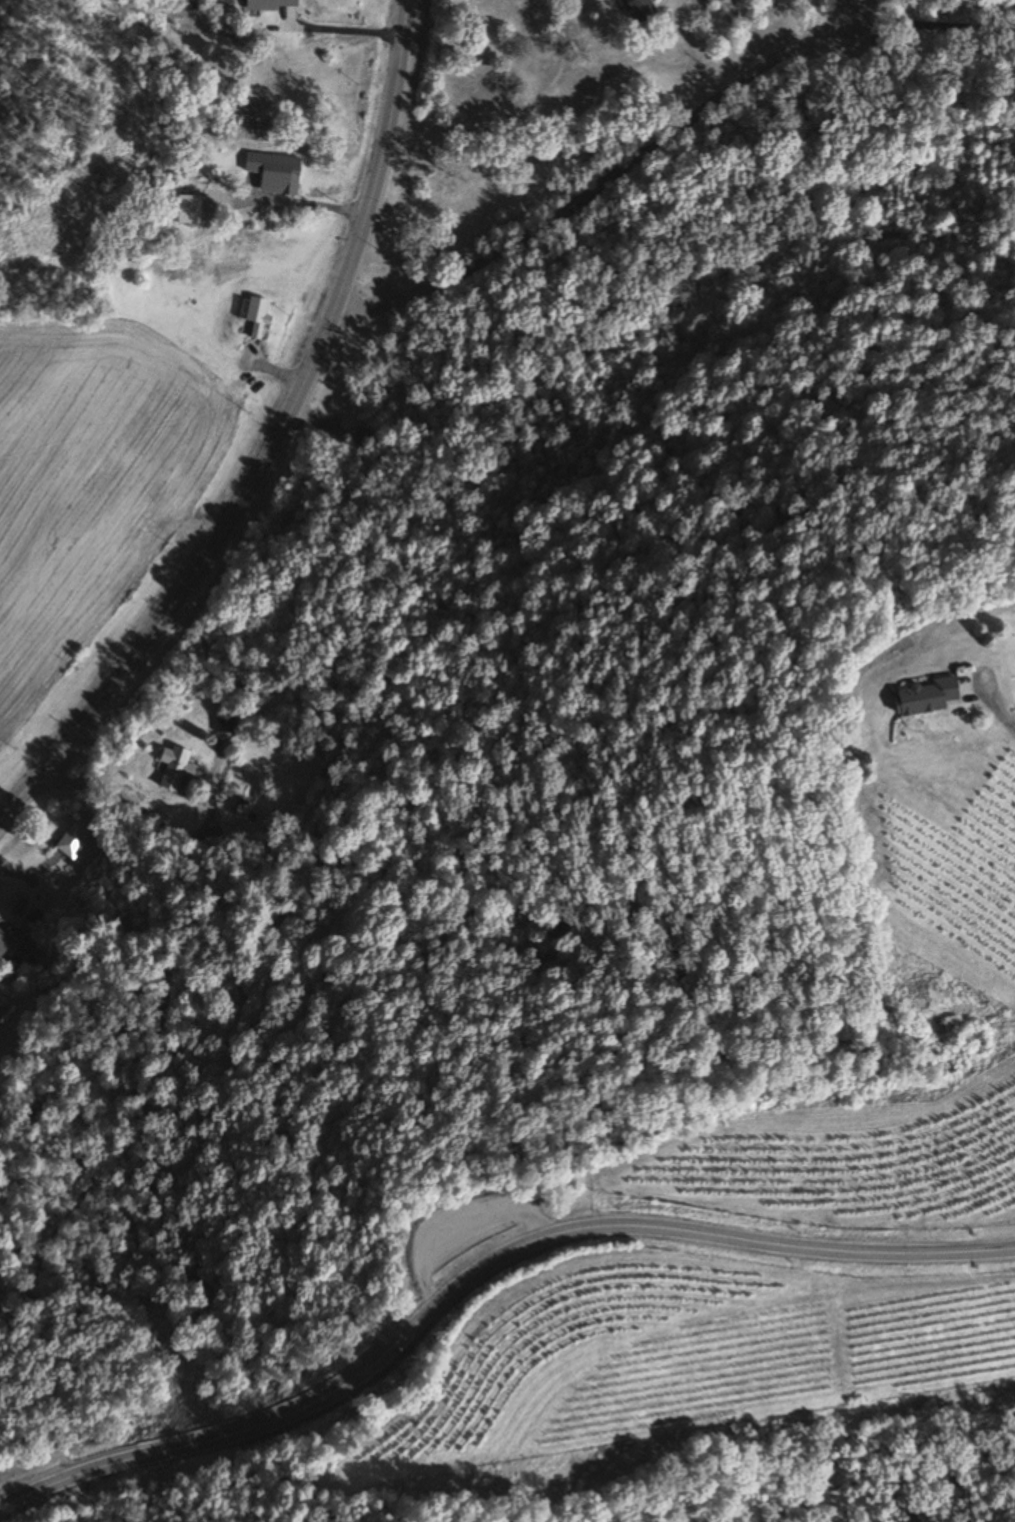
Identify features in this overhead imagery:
building: (268, 5)
building: (637, 10)
road: (937, 21)
road: (337, 26)
building: (273, 175)
road: (602, 181)
road: (283, 201)
building: (186, 211)
building: (253, 317)
road: (271, 442)
crop: (93, 485)
building: (922, 695)
road: (1001, 714)
building: (170, 768)
building: (245, 812)
building: (72, 839)
building: (1, 931)
building: (2, 941)
road: (449, 1212)
road: (995, 1249)
road: (463, 1280)

